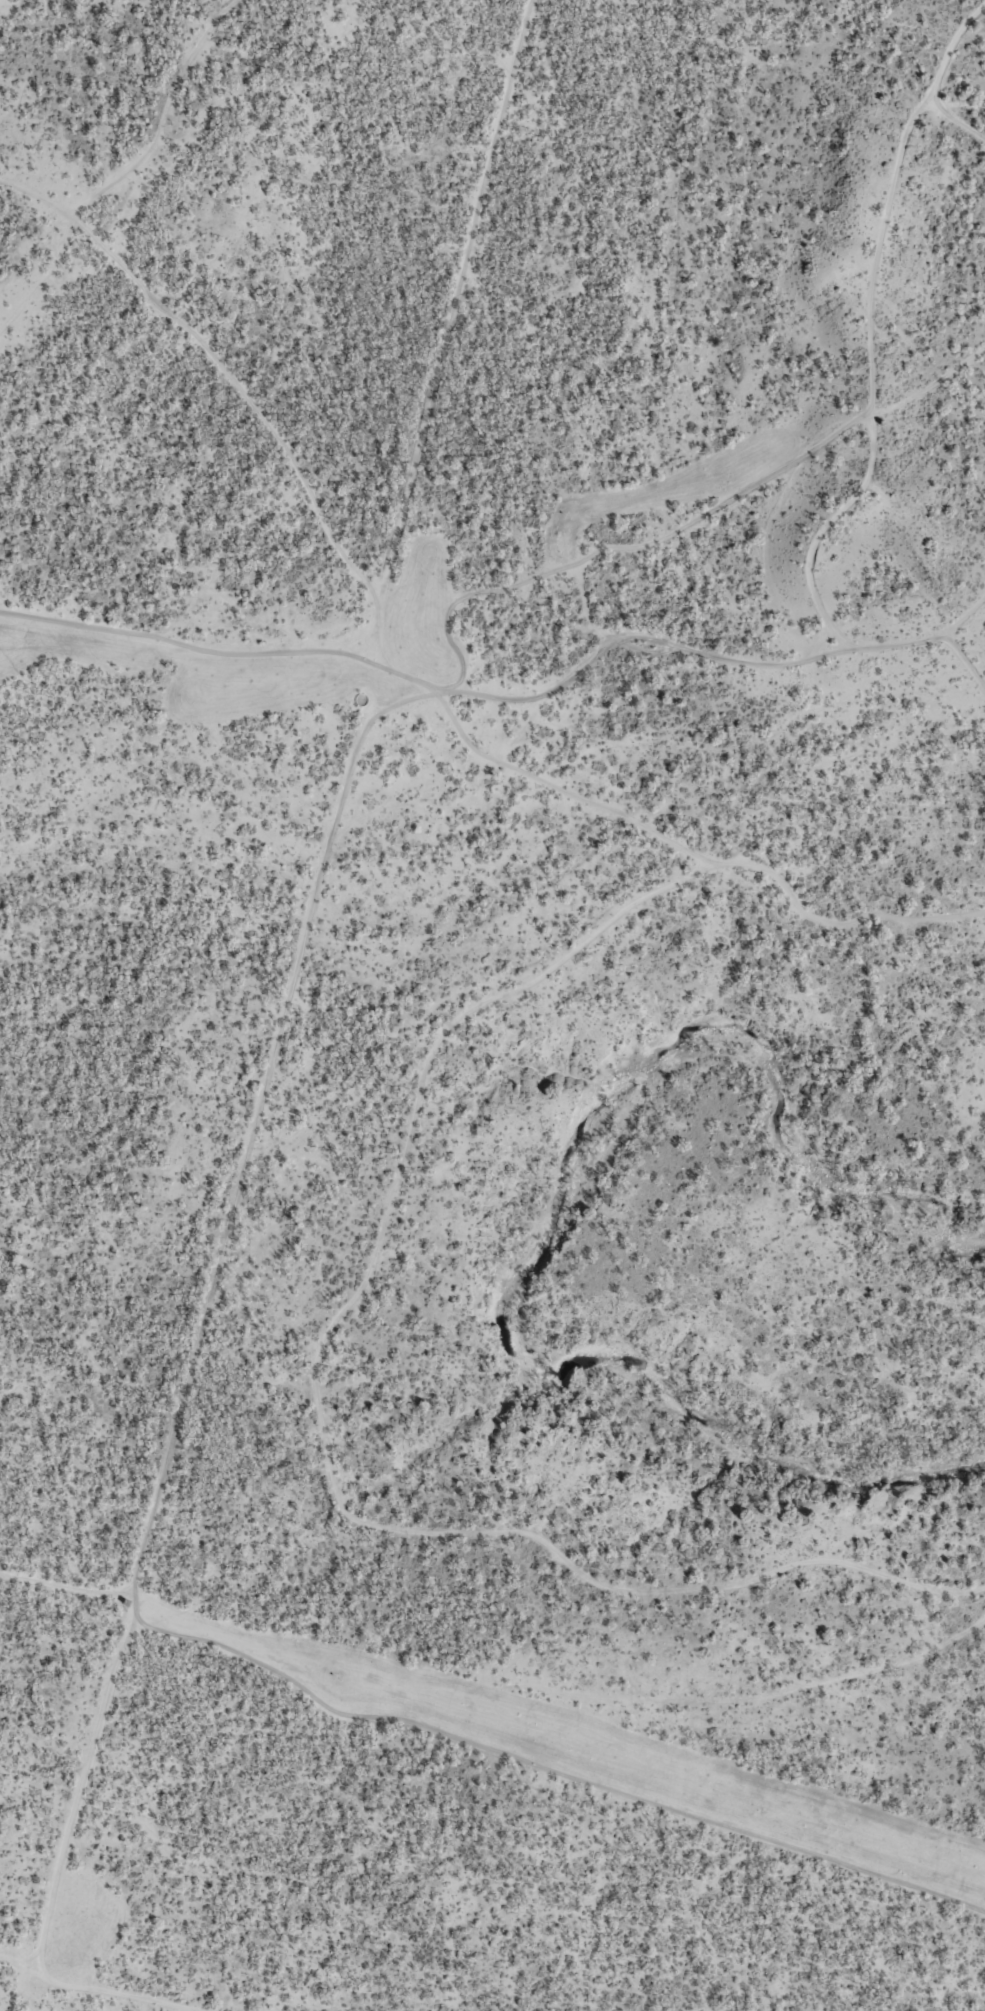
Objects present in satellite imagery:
road: (847, 329)
road: (667, 692)
road: (223, 1169)

